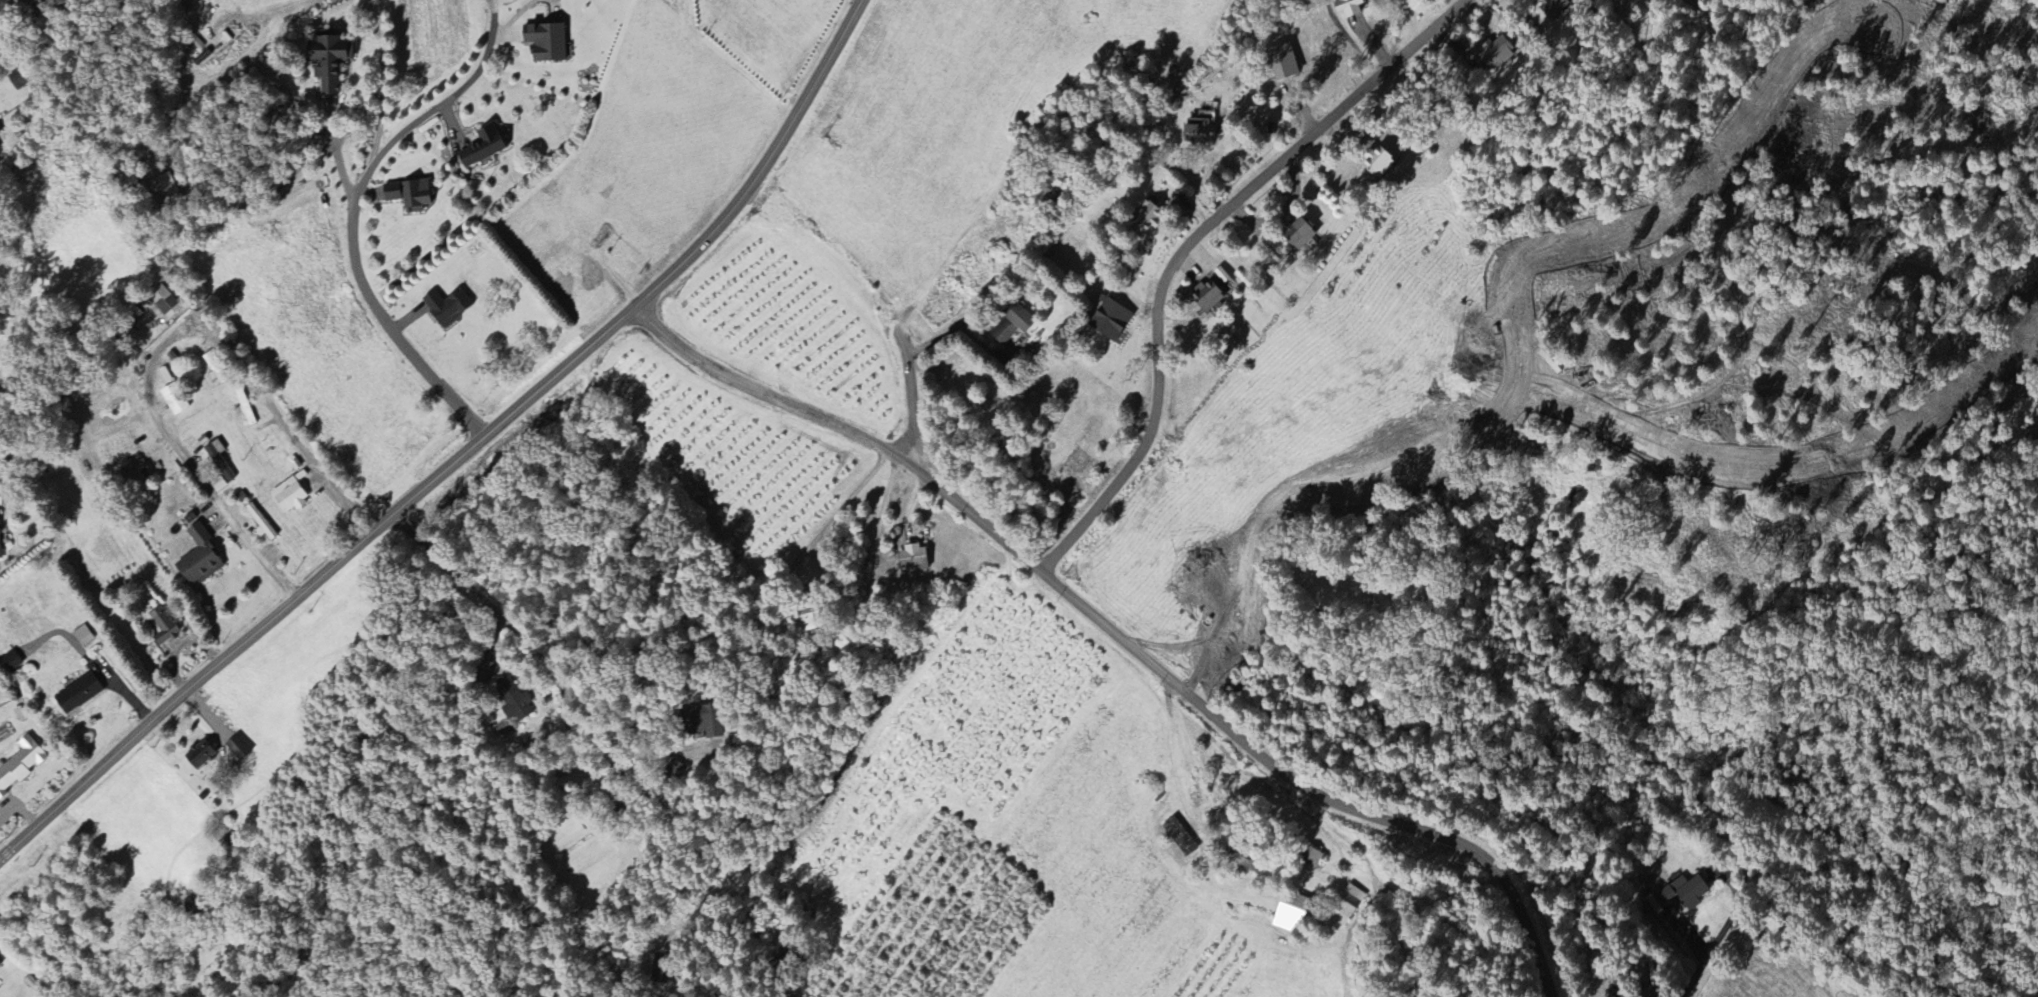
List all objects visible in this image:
building: (1613, 0)
building: (1553, 7)
building: (1348, 8)
building: (545, 43)
building: (1494, 55)
building: (1282, 62)
building: (325, 63)
building: (1197, 128)
building: (482, 148)
building: (1378, 163)
building: (1050, 189)
building: (408, 196)
building: (1145, 215)
road: (350, 220)
building: (1297, 234)
road: (1183, 246)
building: (1206, 296)
building: (161, 303)
building: (447, 308)
building: (1109, 320)
building: (1012, 326)
road: (961, 331)
road: (157, 350)
building: (174, 400)
road: (781, 402)
building: (244, 407)
road: (907, 407)
road: (463, 458)
building: (219, 460)
building: (218, 485)
building: (289, 497)
building: (259, 522)
building: (0, 553)
building: (913, 558)
building: (198, 559)
building: (161, 627)
building: (83, 637)
road: (789, 638)
road: (544, 660)
building: (11, 662)
building: (484, 673)
building: (78, 695)
building: (514, 701)
building: (700, 722)
building: (237, 749)
road: (1246, 752)
building: (199, 756)
building: (20, 764)
building: (675, 771)
road: (1260, 828)
building: (1179, 838)
building: (1312, 859)
building: (1246, 865)
building: (1680, 895)
building: (1347, 906)
building: (1291, 913)
road: (1346, 924)
road: (1699, 964)
building: (0, 965)

